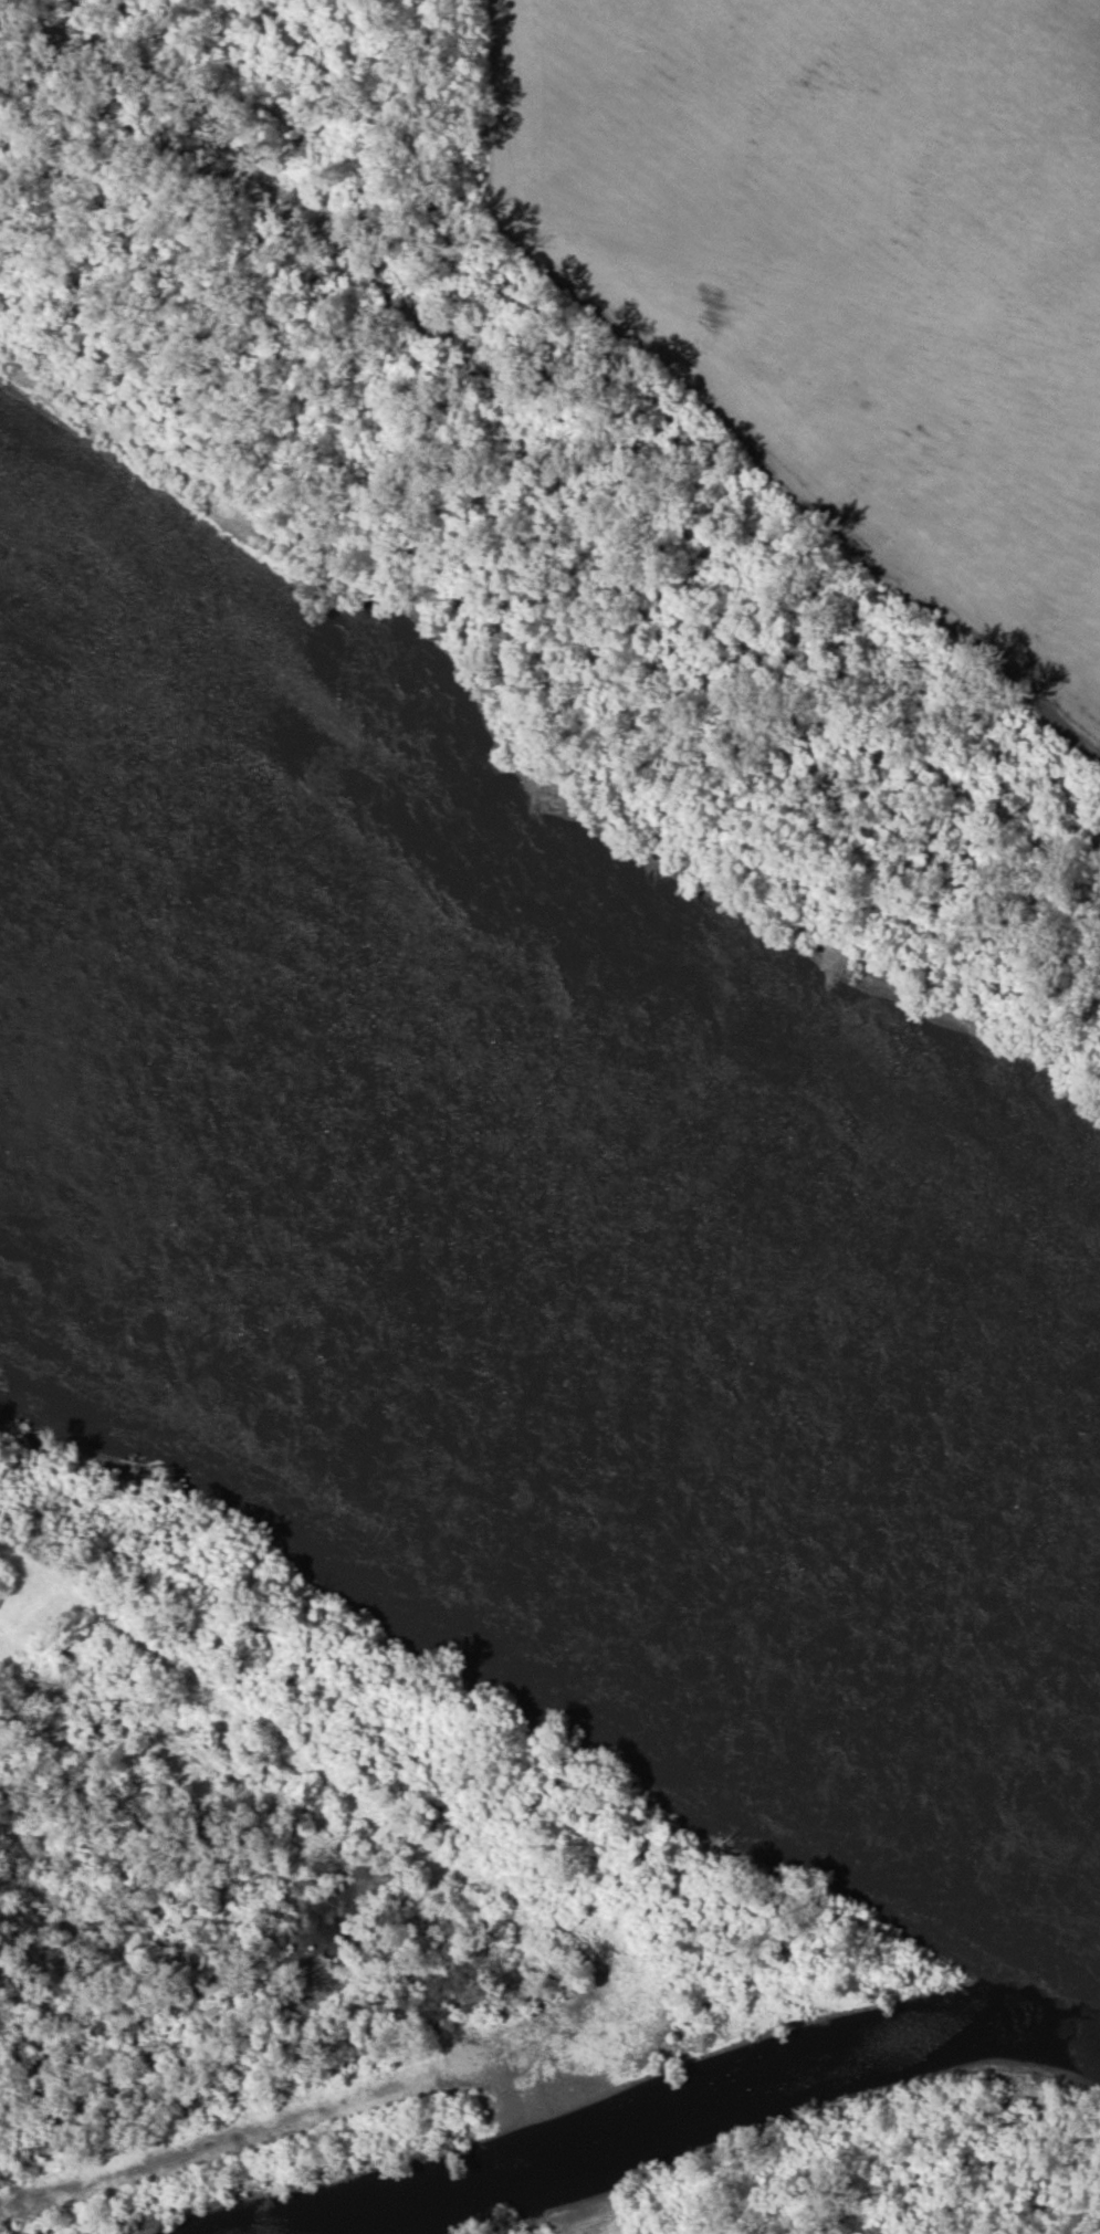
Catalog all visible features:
road: (486, 107)
river: (543, 1249)
river: (719, 2114)

